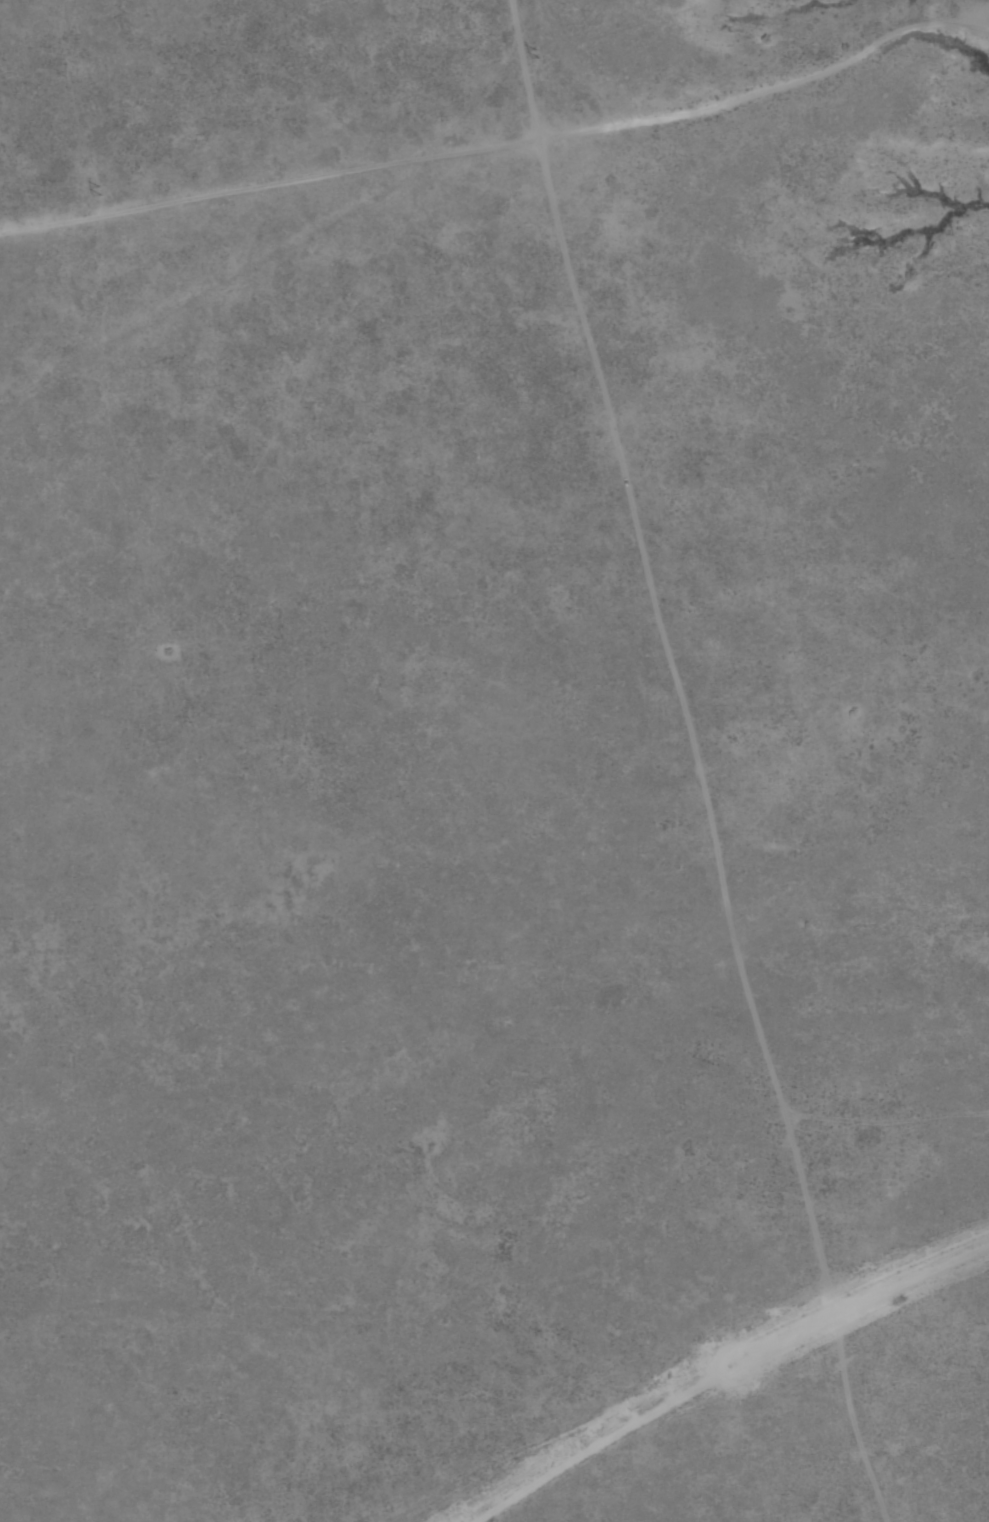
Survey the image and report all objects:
power tower: (537, 53)
power tower: (99, 190)
road: (720, 1368)

